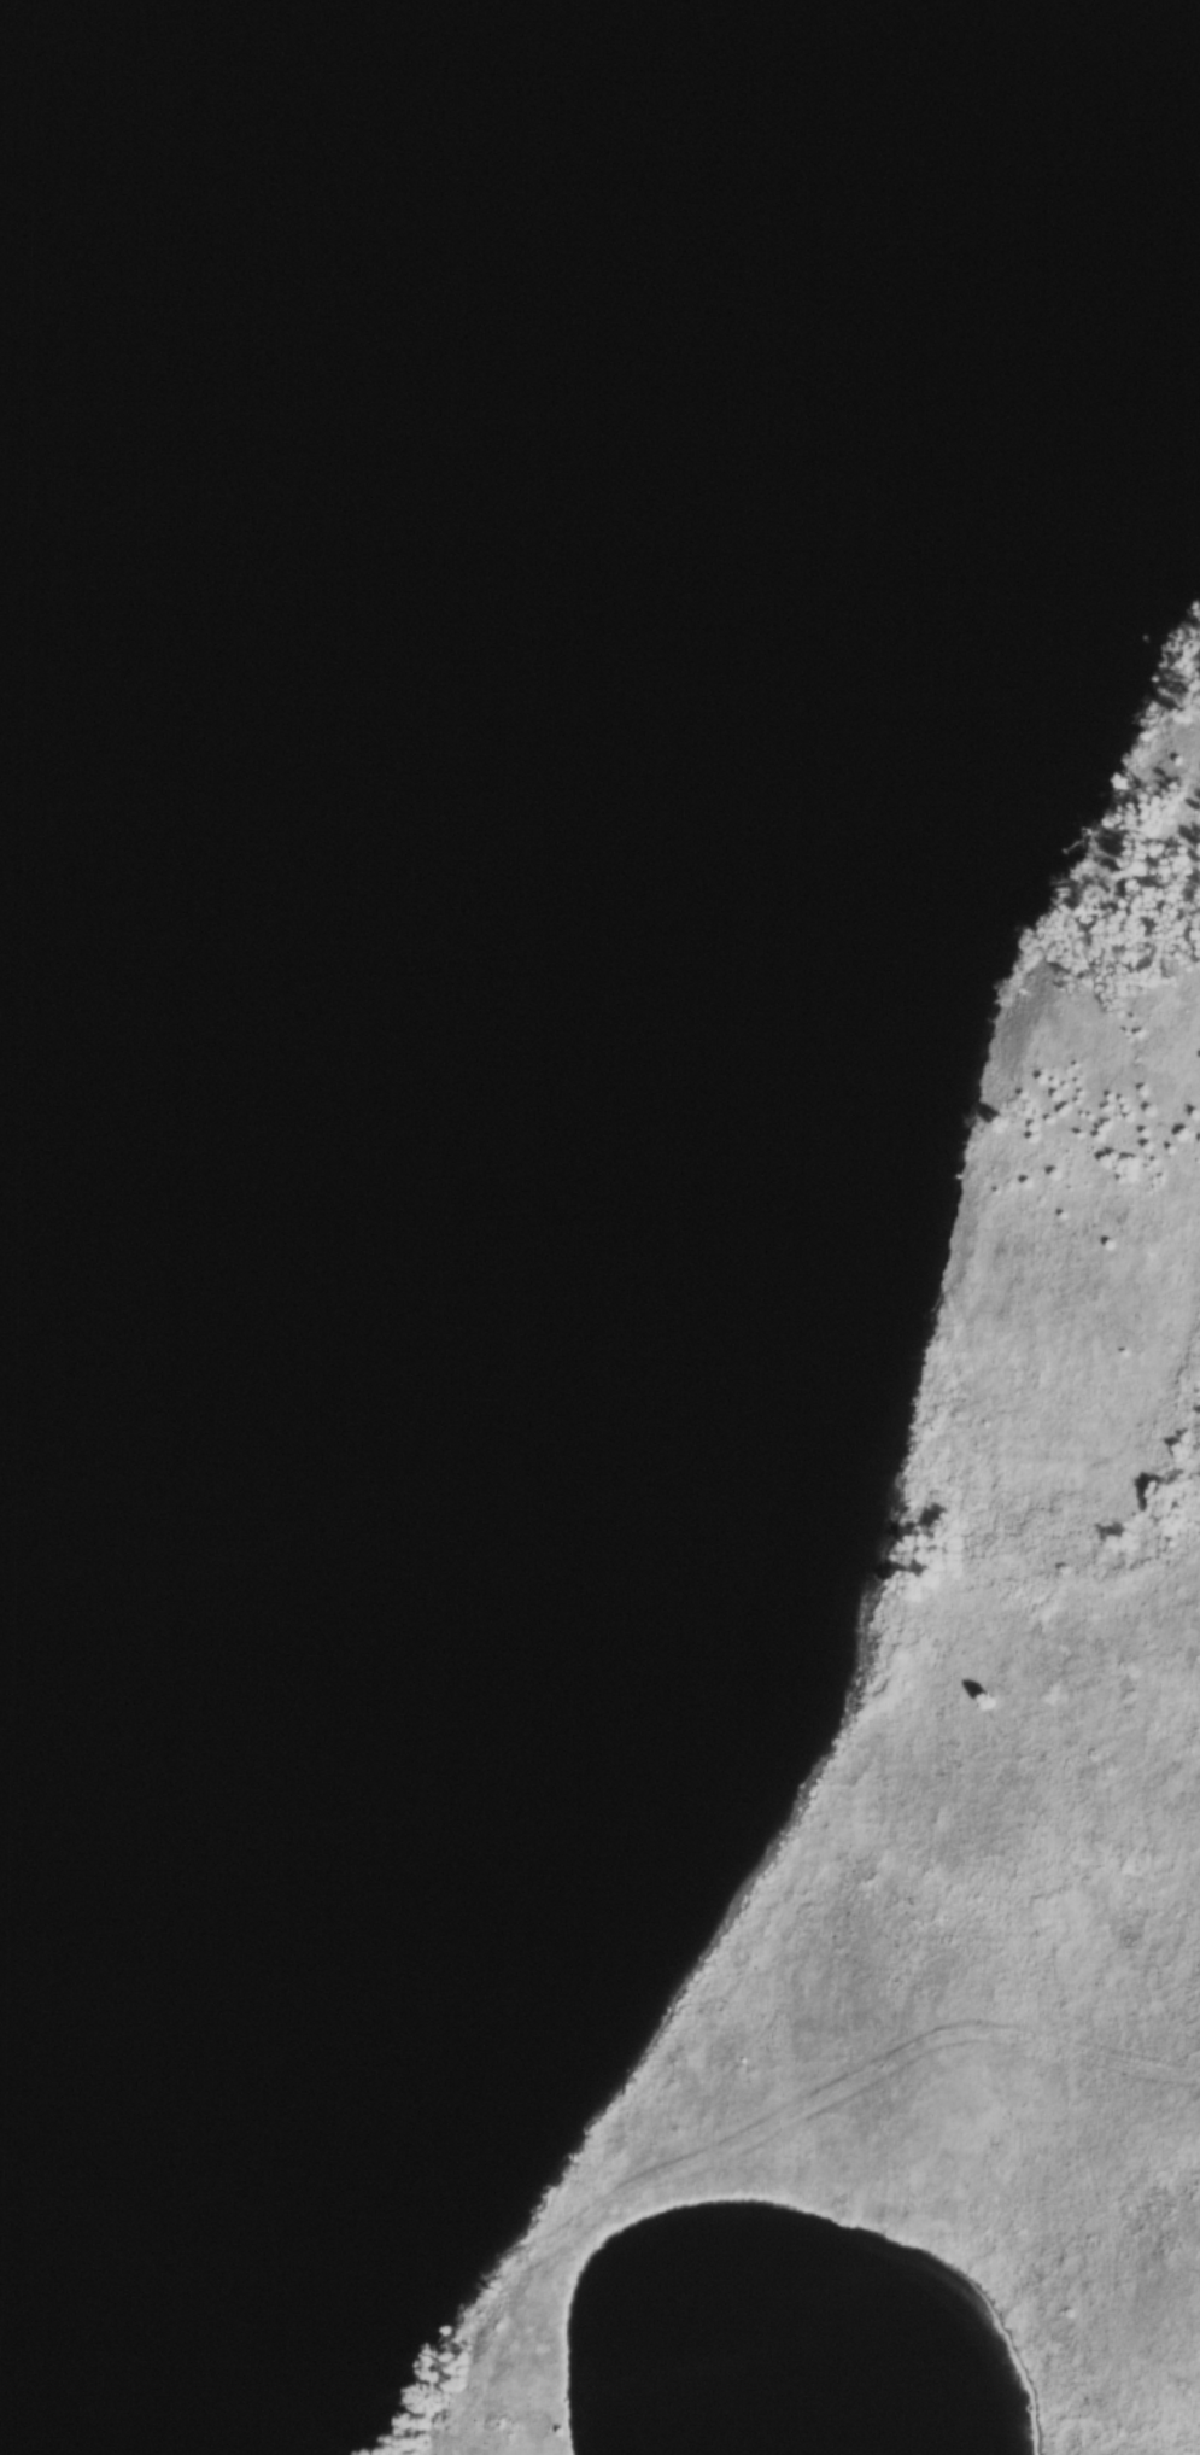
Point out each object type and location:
road: (771, 2133)

